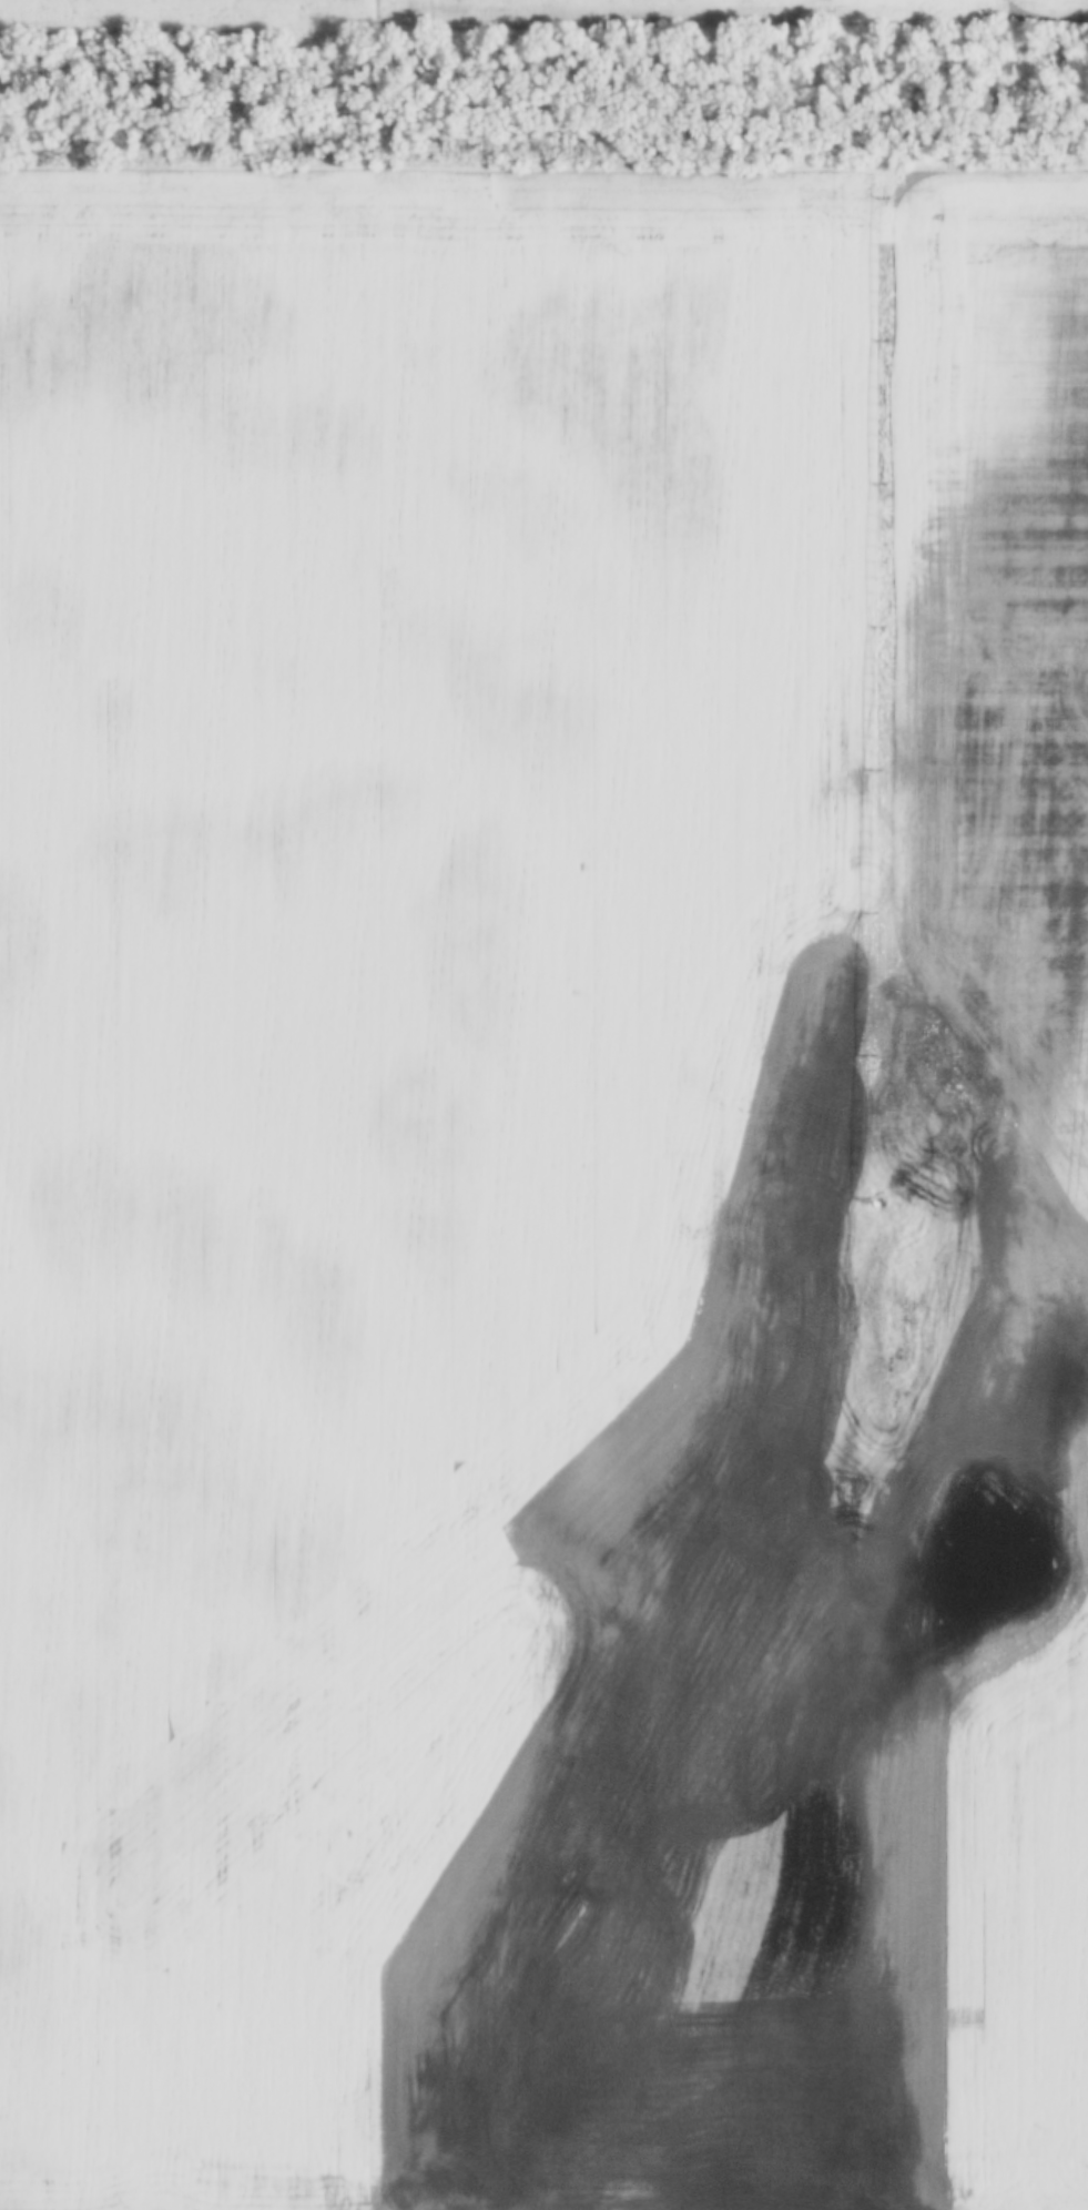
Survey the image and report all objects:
crop: (515, 9)
crop: (543, 1188)

